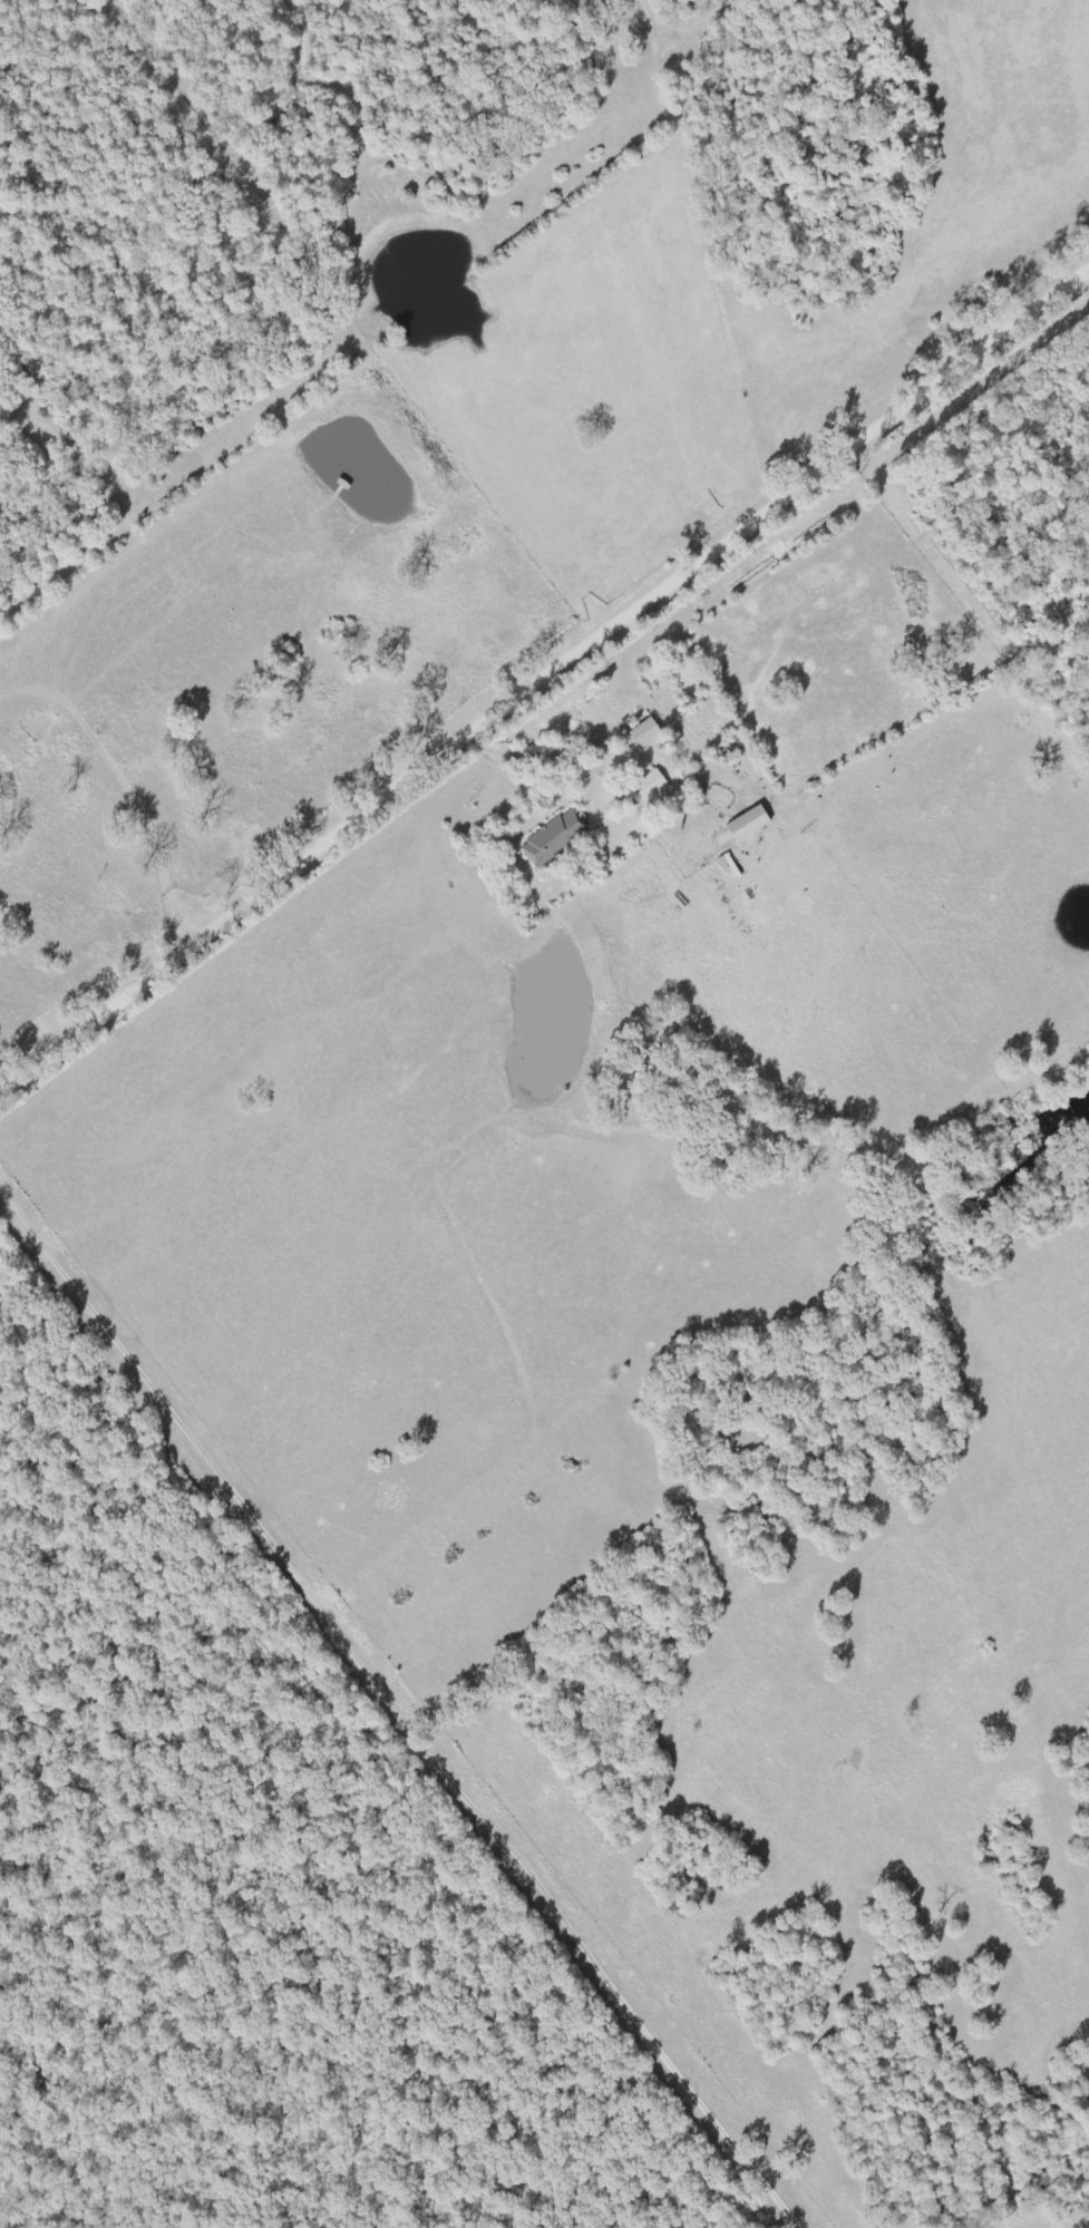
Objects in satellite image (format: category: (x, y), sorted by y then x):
road: (988, 349)
road: (621, 632)
building: (646, 733)
building: (653, 787)
building: (750, 824)
building: (556, 838)

